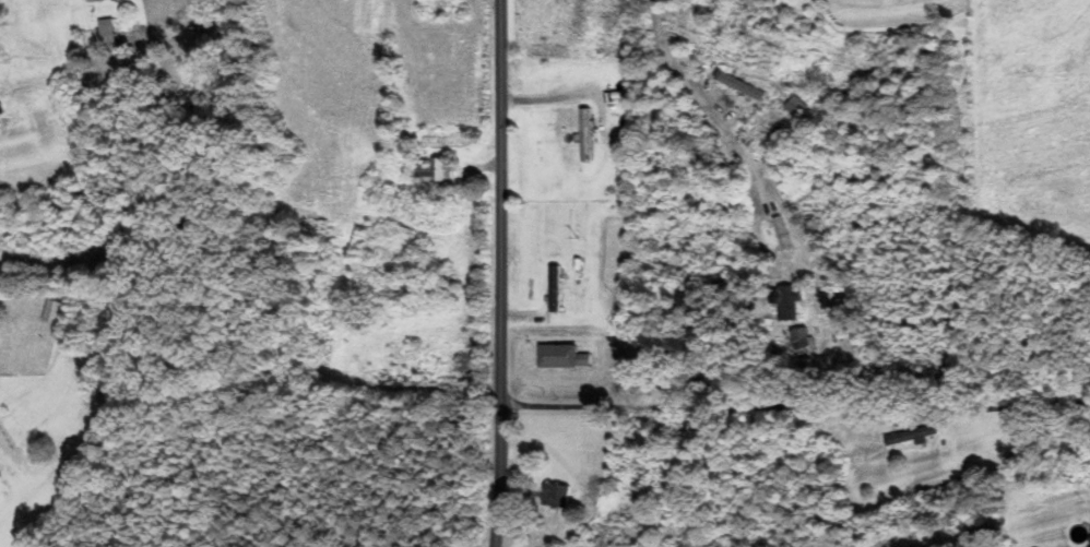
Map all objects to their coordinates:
building: (91, 0)
building: (581, 21)
building: (108, 26)
road: (673, 55)
building: (743, 84)
building: (798, 106)
building: (584, 133)
building: (433, 169)
building: (782, 231)
road: (502, 273)
building: (414, 284)
building: (556, 287)
building: (791, 302)
building: (803, 340)
building: (564, 356)
road: (796, 406)
building: (911, 435)
building: (559, 495)

